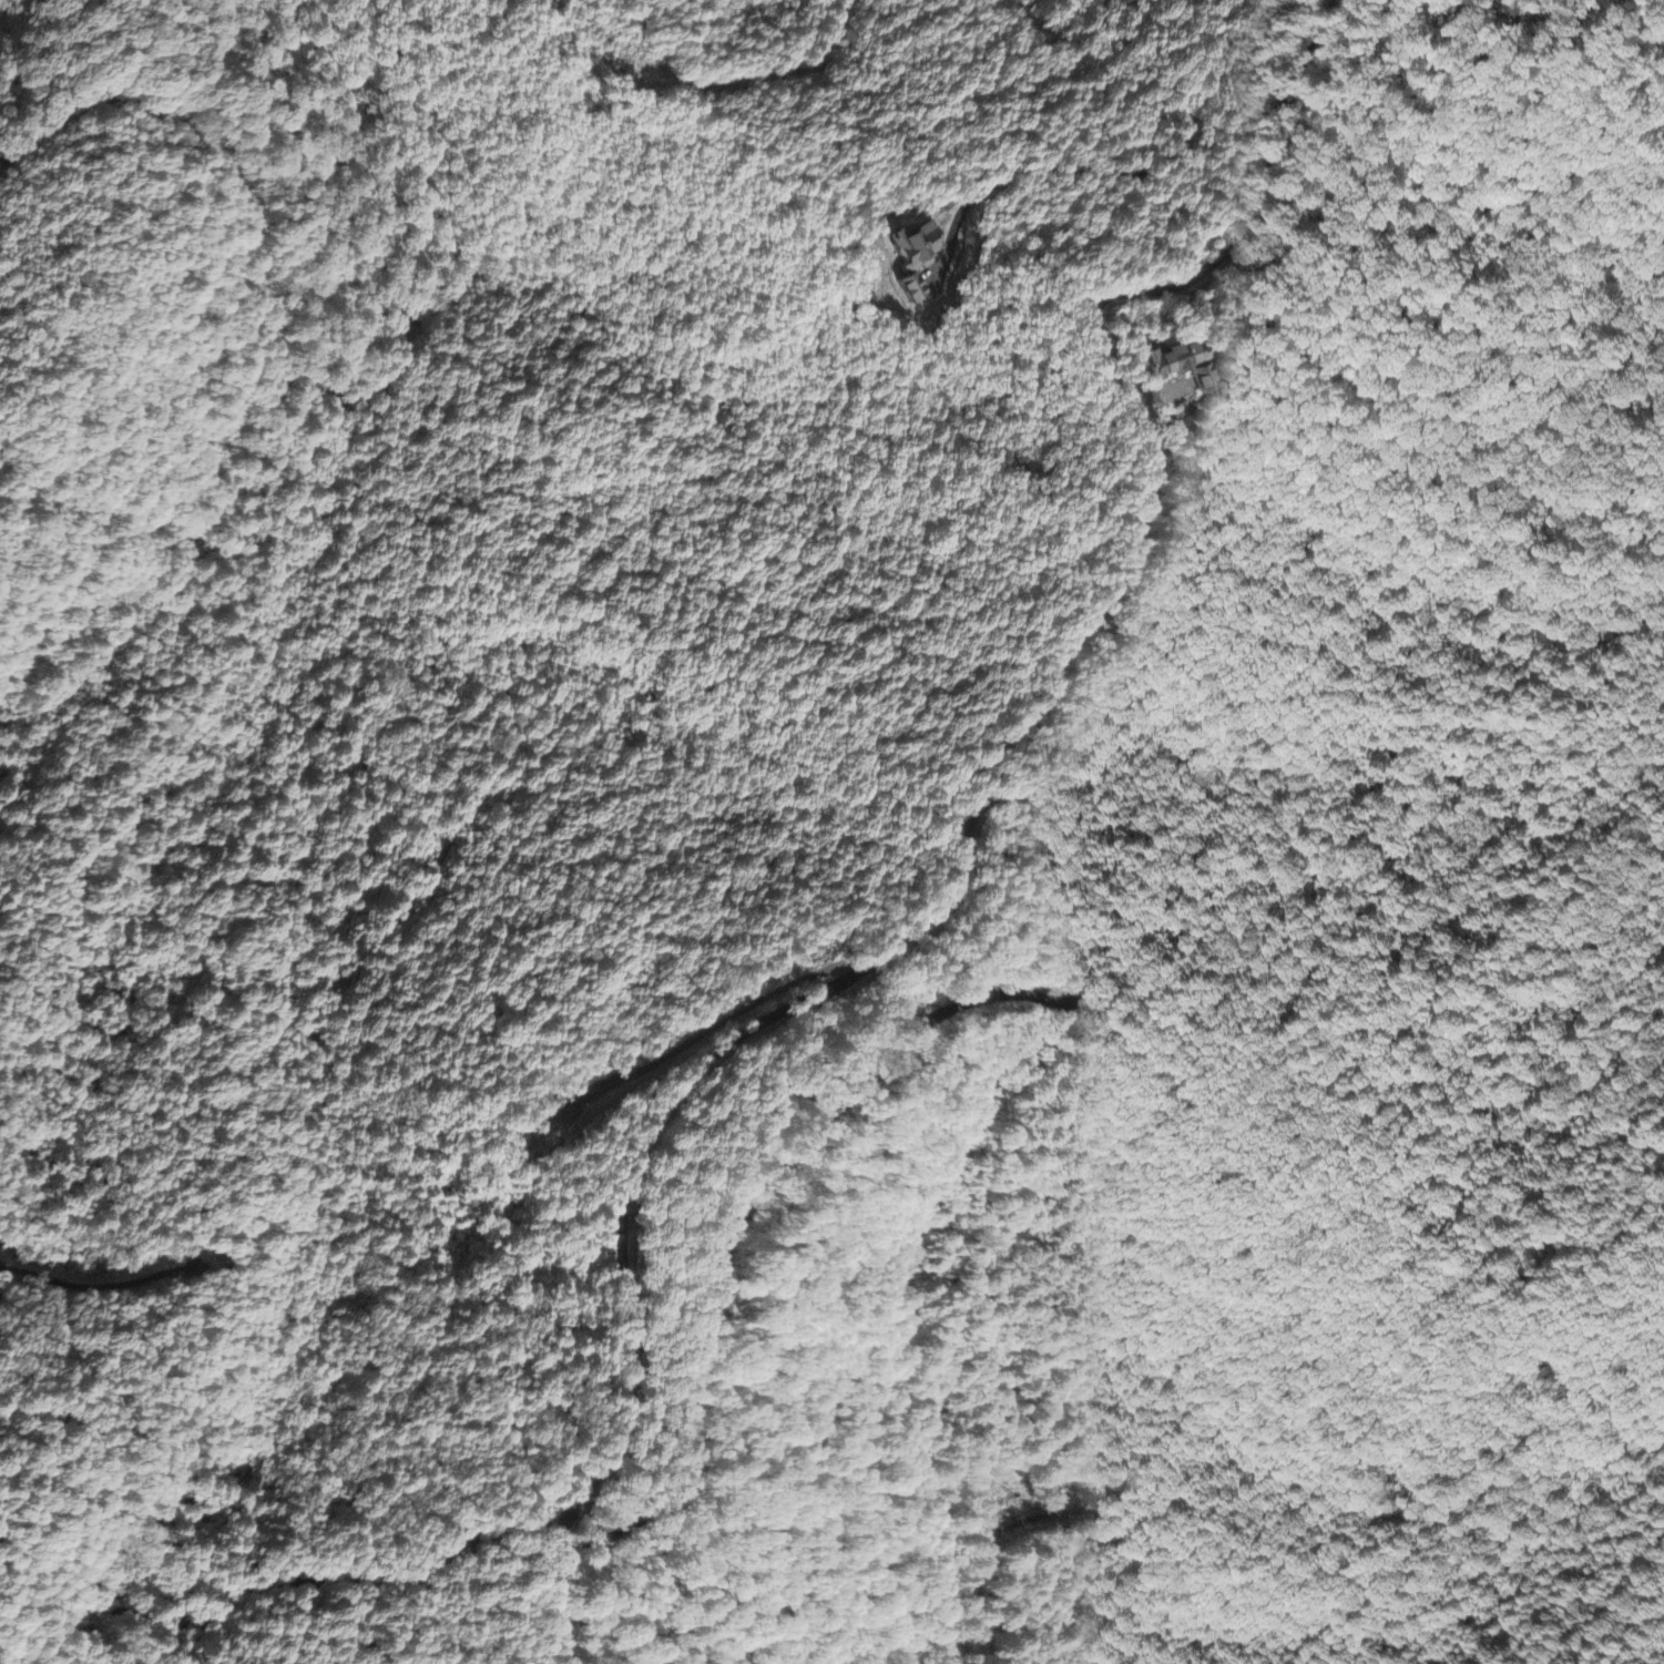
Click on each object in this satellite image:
road: (422, 174)
building: (1180, 367)
road: (302, 378)
road: (649, 1126)
road: (38, 1355)
road: (552, 1594)
road: (207, 1625)

